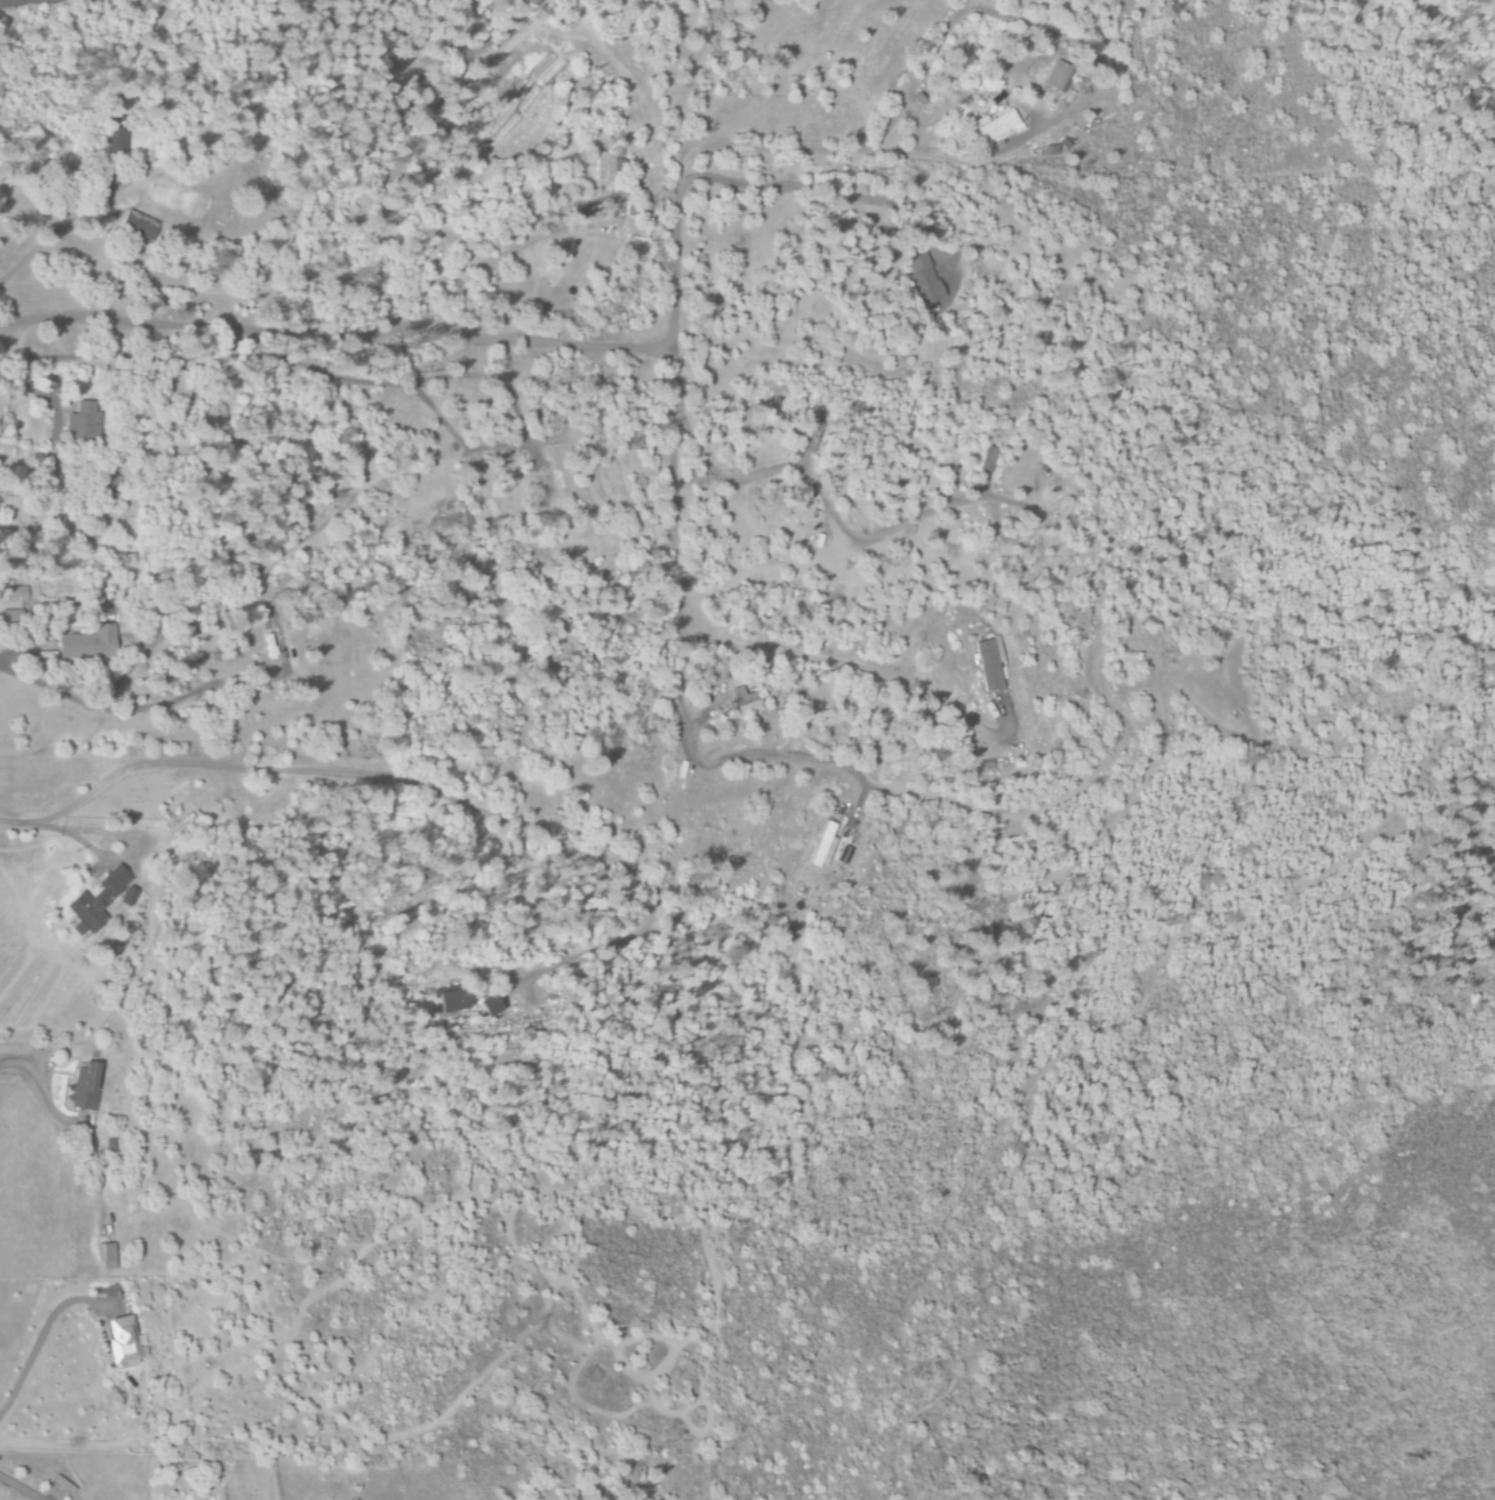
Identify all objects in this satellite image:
building: (1057, 77)
building: (997, 126)
building: (116, 136)
building: (1050, 151)
building: (605, 164)
building: (137, 226)
building: (921, 280)
road: (338, 335)
road: (678, 420)
building: (83, 424)
building: (809, 436)
building: (986, 460)
building: (16, 595)
building: (10, 621)
building: (87, 645)
road: (173, 646)
building: (267, 648)
building: (999, 650)
road: (832, 666)
building: (988, 666)
building: (745, 702)
road: (774, 760)
road: (224, 824)
building: (821, 847)
building: (845, 855)
building: (99, 902)
building: (449, 1003)
building: (490, 1006)
building: (84, 1088)
building: (110, 1145)
building: (105, 1256)
building: (122, 1342)
road: (14, 1490)

